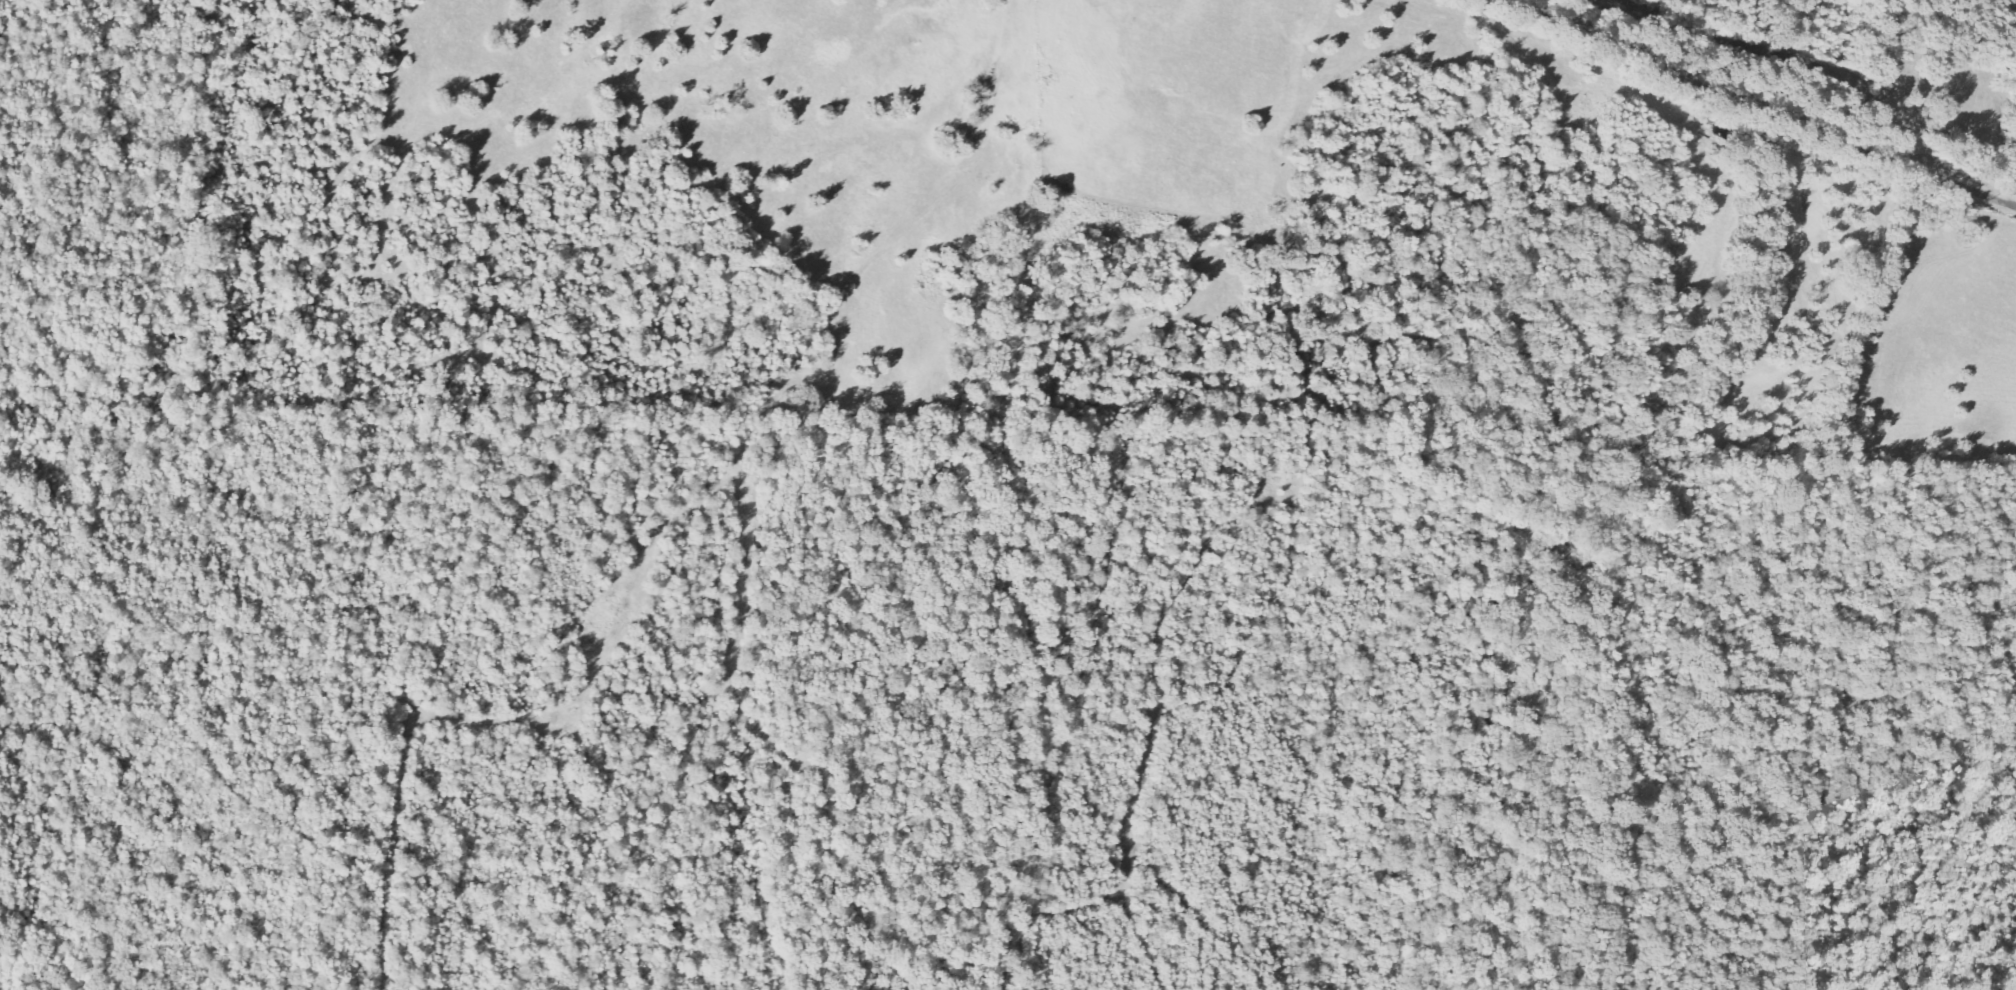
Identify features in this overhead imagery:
road: (1712, 117)

